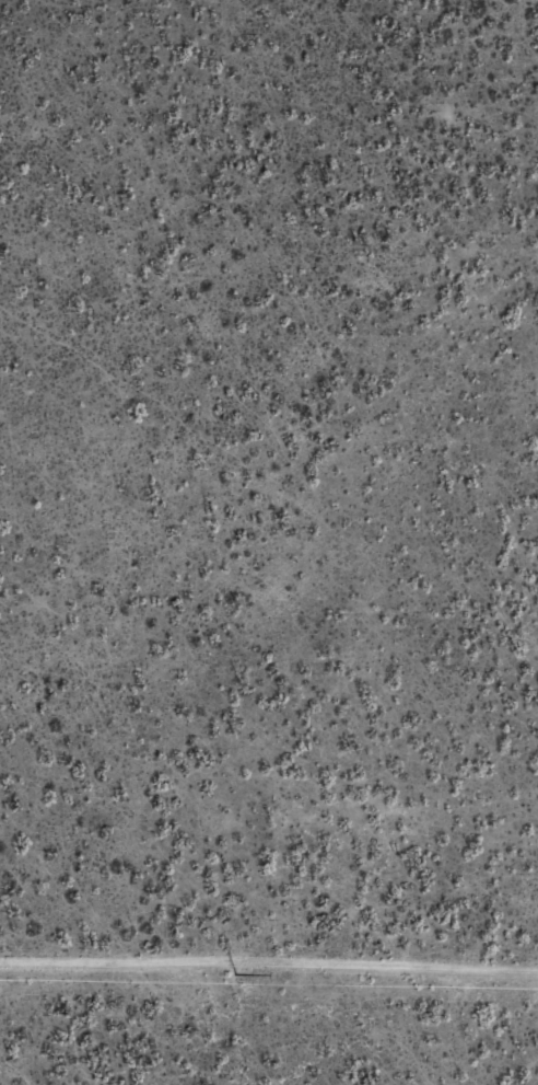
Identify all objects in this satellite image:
power tower: (234, 972)

